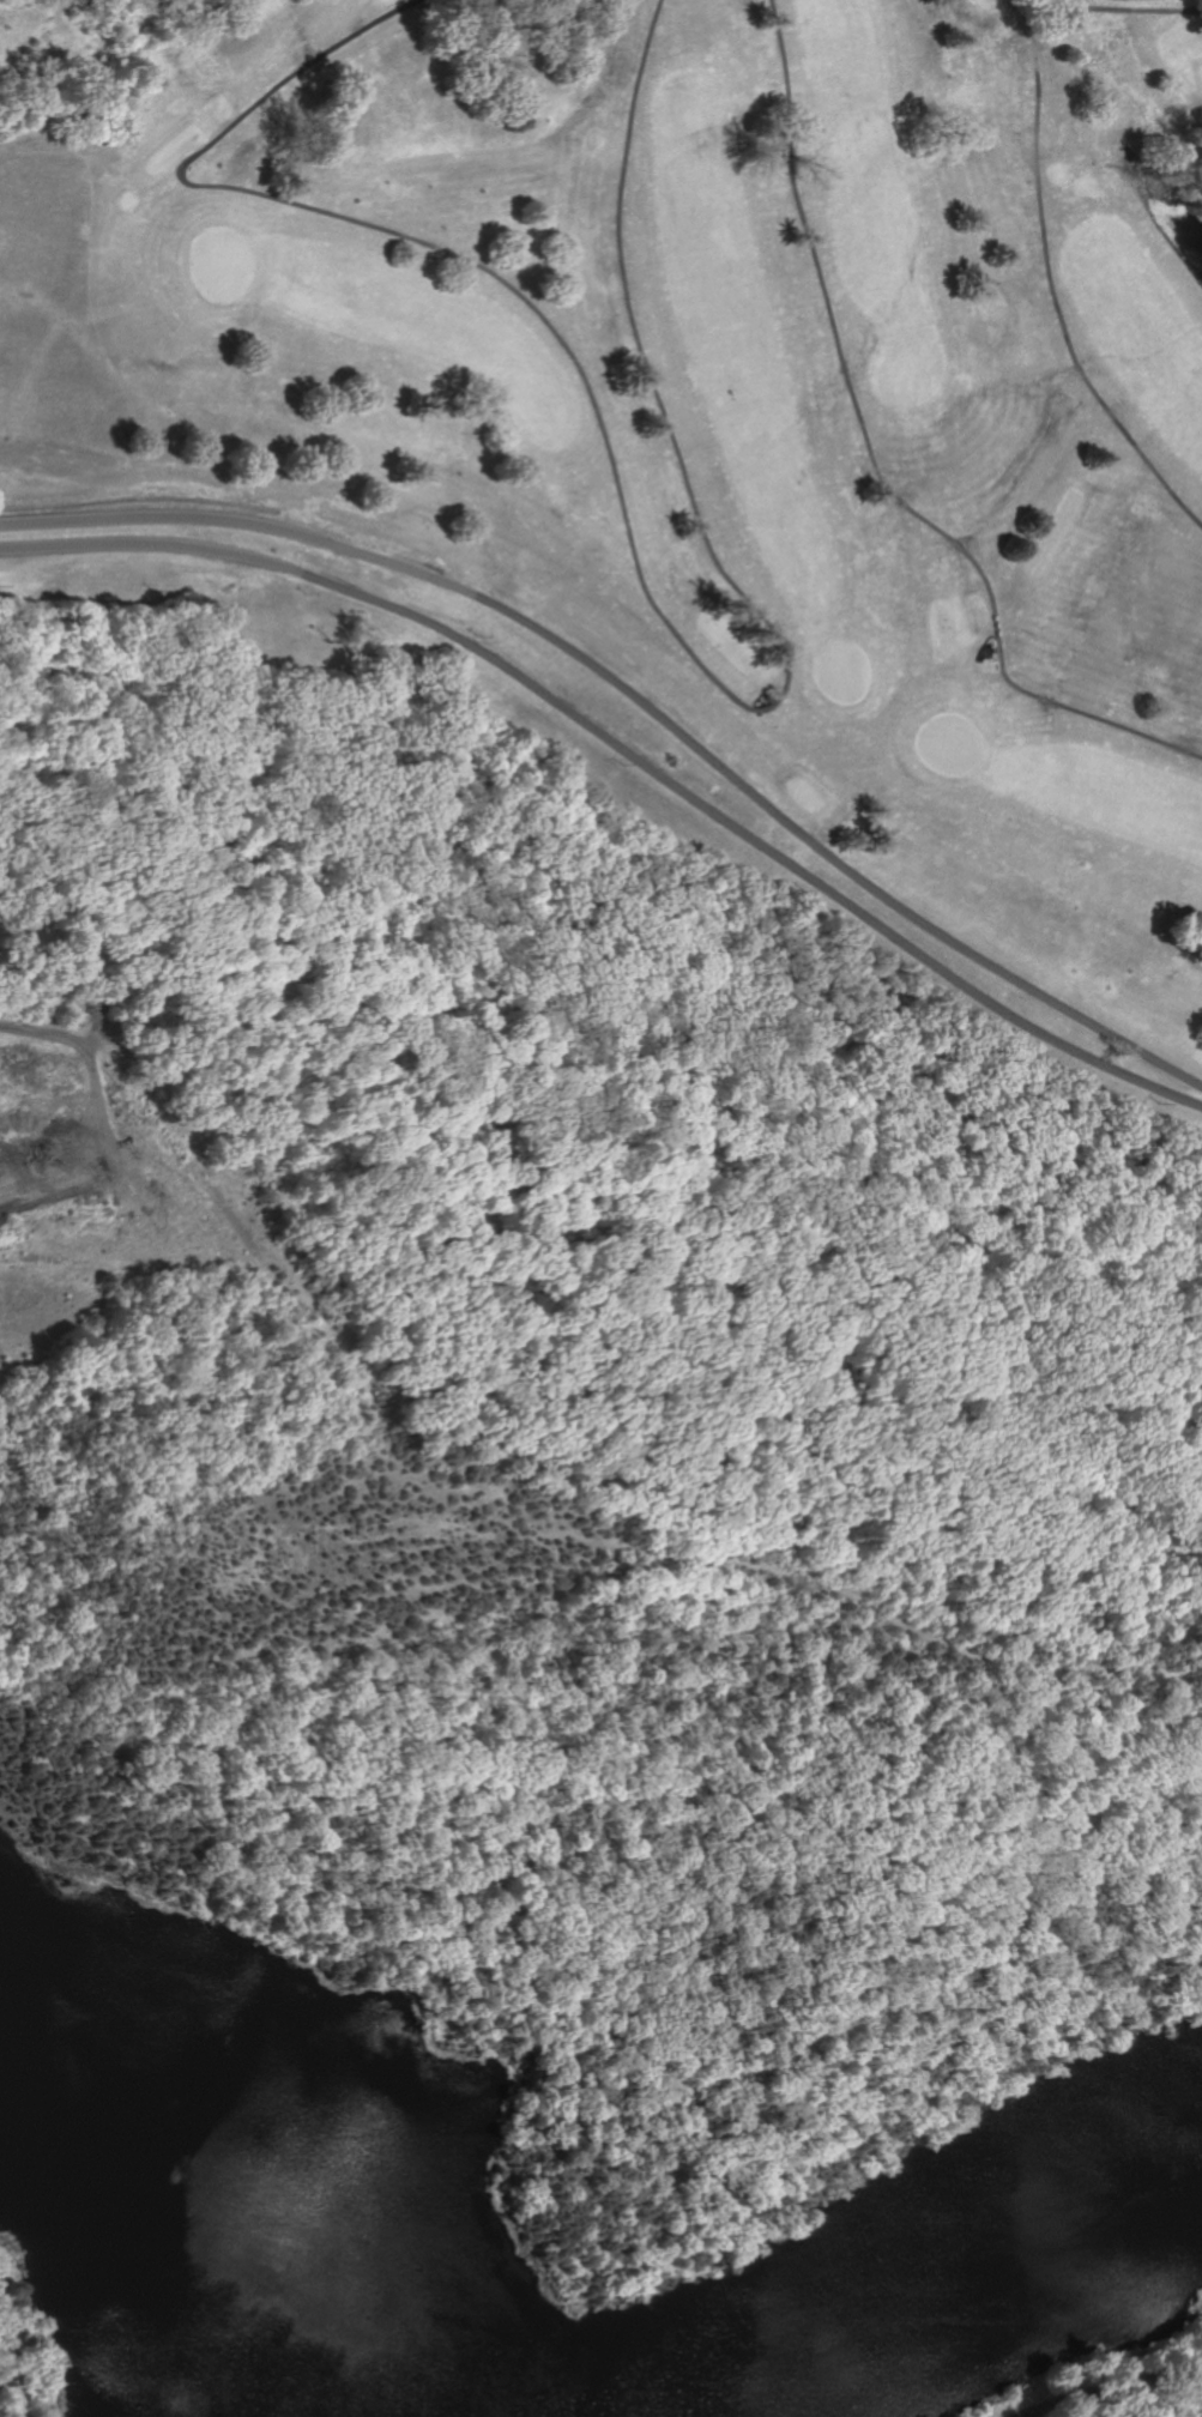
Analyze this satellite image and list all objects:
road: (1134, 7)
road: (294, 71)
road: (1053, 280)
road: (561, 342)
road: (650, 369)
park: (726, 393)
road: (872, 463)
road: (639, 700)
road: (627, 749)
road: (89, 1075)
park: (603, 1213)
road: (1109, 2385)

